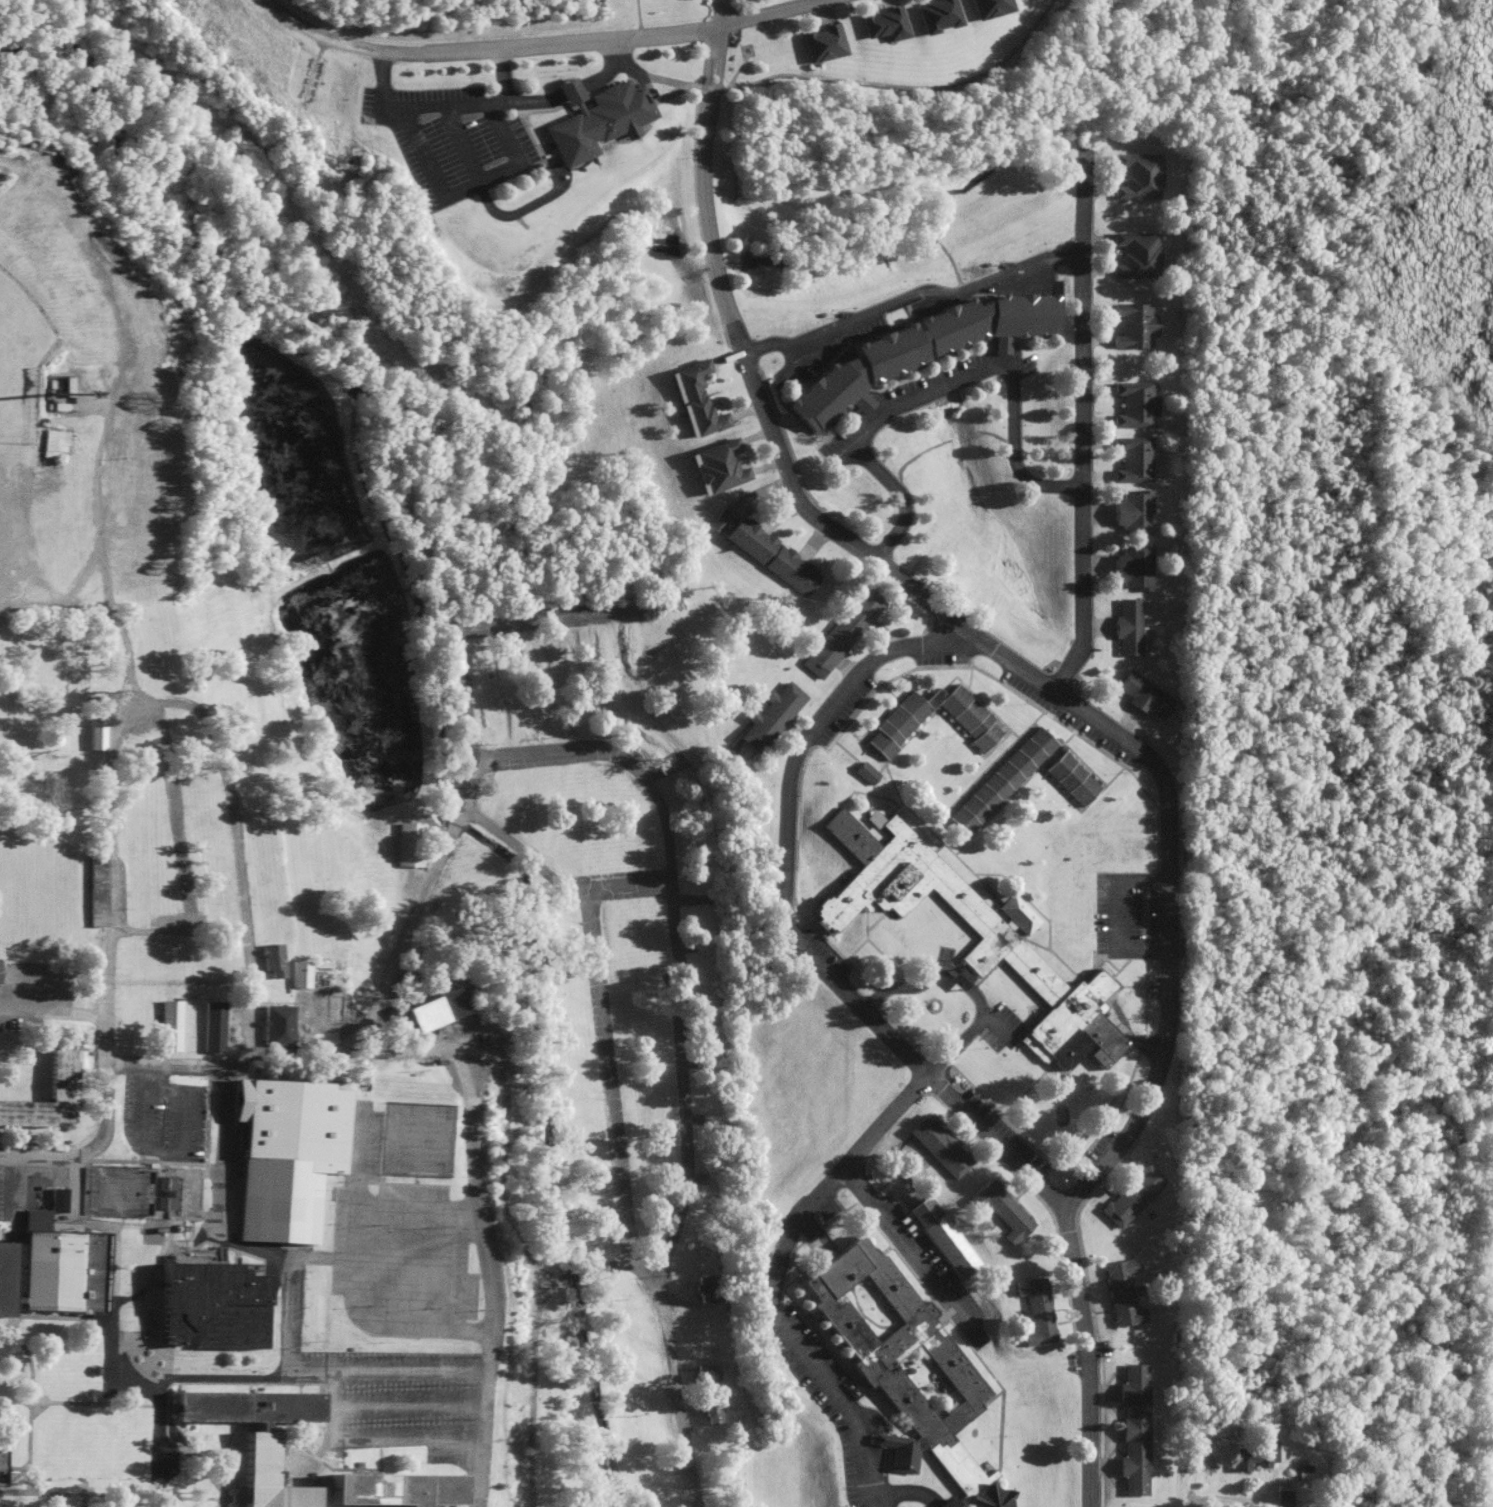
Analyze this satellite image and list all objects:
building: (985, 8)
building: (934, 15)
building: (882, 24)
building: (822, 43)
road: (539, 44)
road: (444, 105)
building: (595, 118)
building: (1139, 176)
road: (699, 179)
building: (1138, 254)
road: (912, 305)
building: (1135, 324)
building: (919, 348)
park: (19, 358)
road: (939, 388)
building: (695, 399)
building: (1135, 404)
road: (1082, 418)
building: (1133, 458)
building: (718, 466)
building: (1134, 512)
building: (719, 520)
road: (818, 521)
building: (771, 556)
building: (1134, 567)
building: (1127, 626)
building: (841, 632)
road: (850, 672)
building: (1143, 694)
building: (770, 716)
building: (968, 716)
building: (92, 735)
road: (795, 735)
building: (865, 772)
building: (1070, 778)
building: (1000, 780)
building: (873, 818)
building: (408, 844)
road: (542, 868)
road: (624, 890)
road: (1115, 914)
road: (784, 924)
building: (1002, 935)
building: (271, 959)
building: (297, 973)
building: (957, 978)
road: (958, 978)
road: (907, 985)
road: (12, 1004)
building: (433, 1009)
building: (168, 1025)
building: (275, 1025)
building: (211, 1026)
road: (969, 1031)
road: (1164, 1038)
road: (682, 1049)
building: (938, 1146)
road: (36, 1152)
building: (283, 1155)
building: (165, 1192)
building: (1131, 1195)
building: (57, 1200)
building: (1001, 1210)
building: (942, 1236)
road: (911, 1253)
building: (60, 1265)
road: (776, 1277)
building: (3, 1278)
building: (706, 1288)
building: (1121, 1293)
building: (209, 1305)
building: (1035, 1310)
building: (904, 1365)
building: (707, 1372)
building: (712, 1413)
building: (1134, 1428)
building: (255, 1437)
road: (157, 1438)
building: (163, 1450)
building: (1251, 1455)
building: (0, 1459)
building: (391, 1489)
building: (1282, 1495)
building: (1154, 1506)

